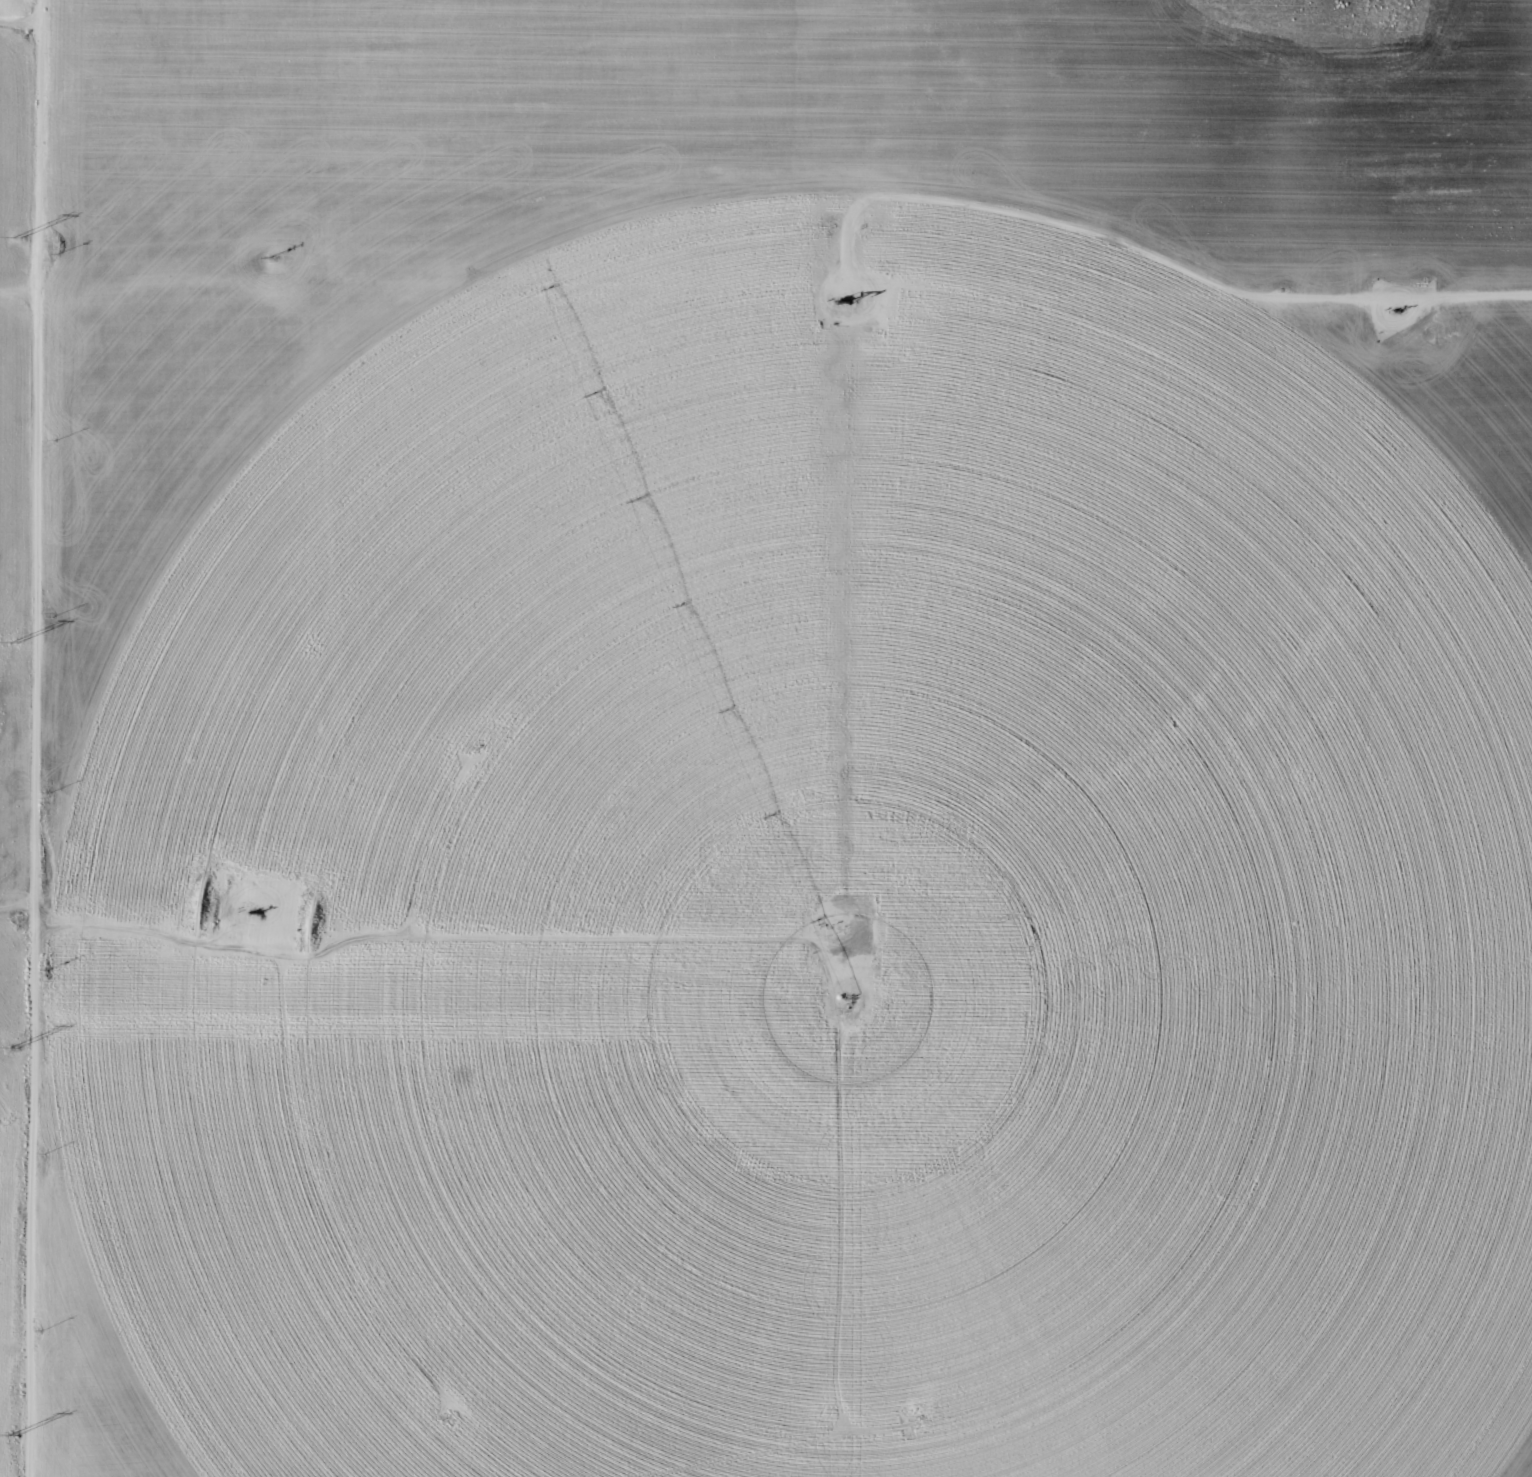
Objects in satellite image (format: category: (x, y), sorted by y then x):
road: (19, 40)
road: (31, 738)

